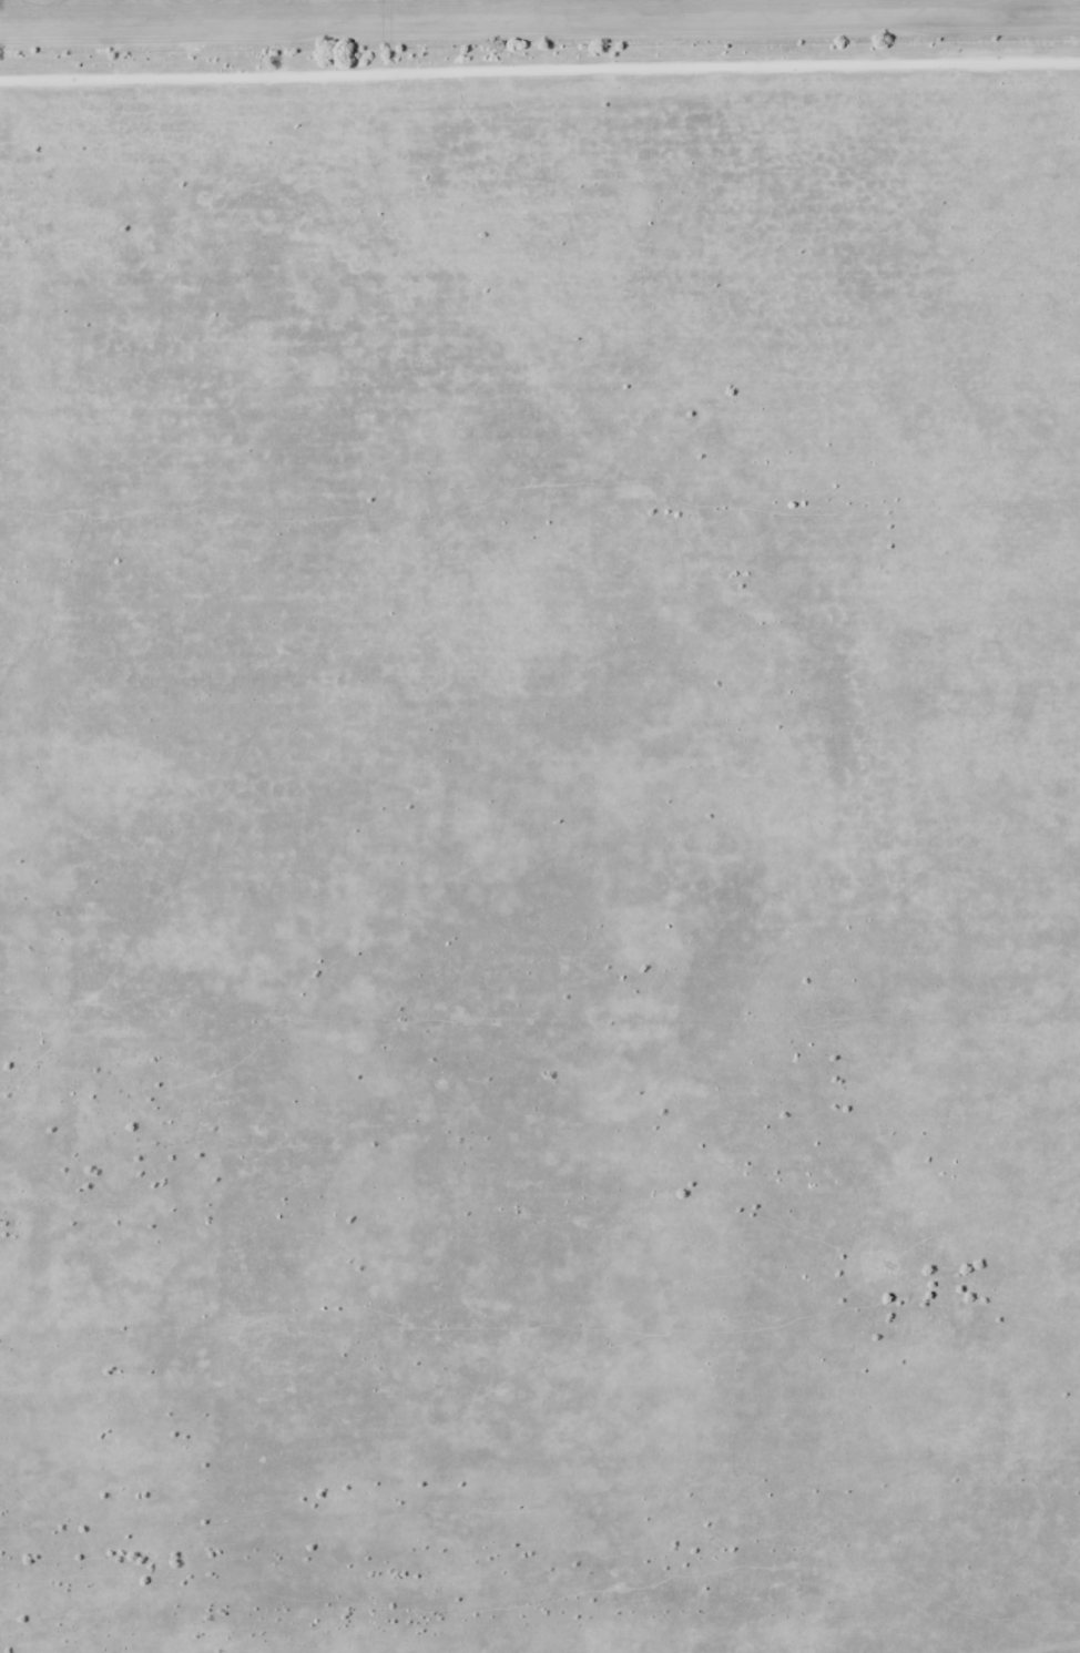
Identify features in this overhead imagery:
road: (539, 75)

